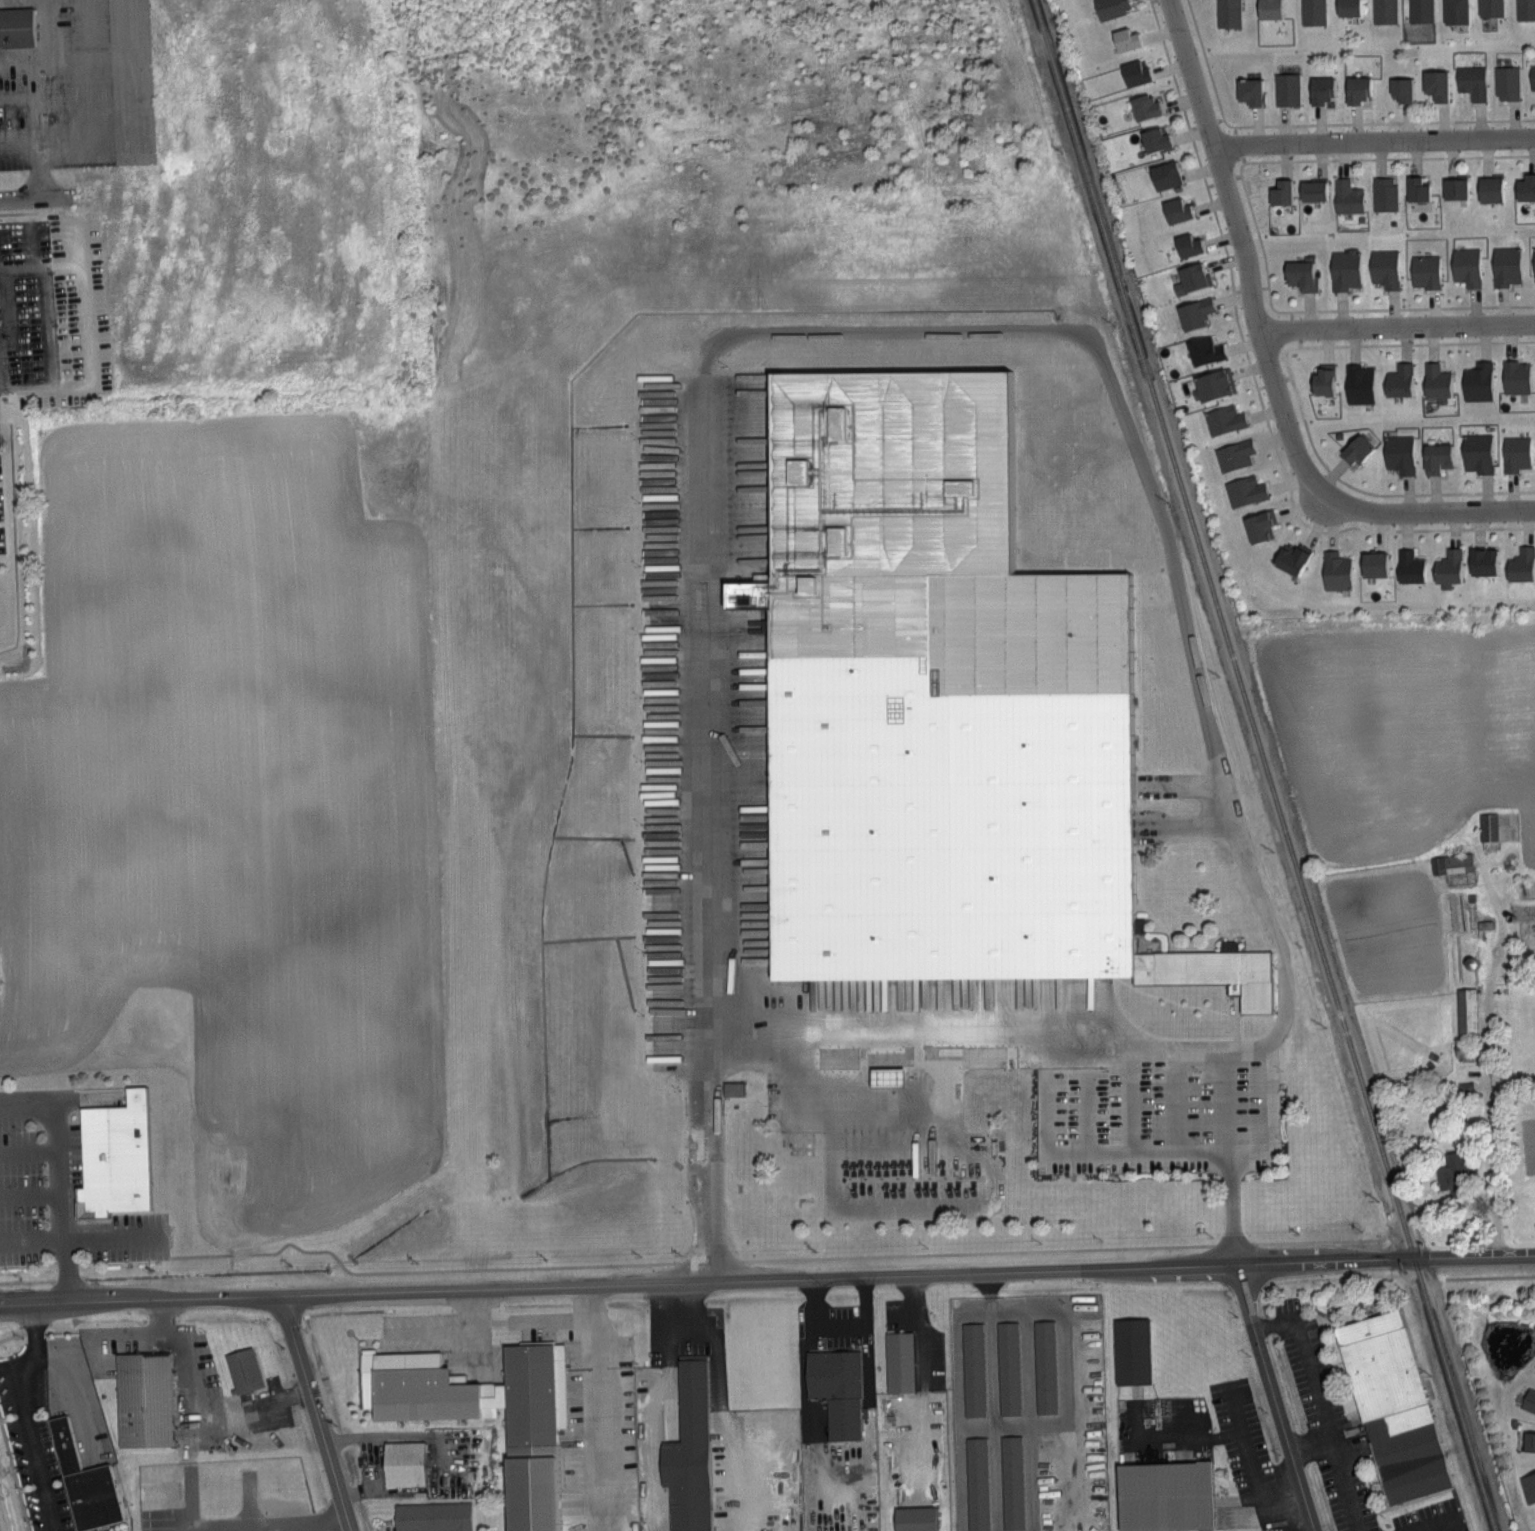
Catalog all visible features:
building: (1110, 7)
building: (1347, 8)
building: (1490, 8)
building: (1268, 9)
building: (1525, 10)
building: (1383, 11)
building: (1420, 11)
building: (1455, 11)
building: (1312, 12)
building: (1227, 13)
building: (16, 26)
building: (1125, 39)
road: (1207, 62)
building: (1134, 72)
building: (1531, 77)
building: (1471, 82)
building: (1506, 83)
building: (1435, 85)
building: (1286, 89)
building: (1356, 89)
building: (1401, 89)
building: (1320, 90)
building: (1248, 91)
building: (1144, 107)
road: (1385, 122)
road: (107, 123)
road: (1230, 125)
building: (1155, 139)
road: (25, 142)
road: (1373, 142)
road: (1513, 154)
road: (1366, 158)
road: (1241, 171)
building: (1164, 174)
building: (1454, 186)
building: (1525, 186)
building: (1415, 187)
building: (1489, 187)
building: (1312, 188)
building: (1280, 190)
building: (1383, 192)
building: (1346, 195)
road: (37, 199)
building: (1176, 209)
road: (1258, 233)
building: (1187, 243)
road: (1241, 246)
building: (1534, 263)
building: (1465, 265)
building: (1505, 265)
building: (1383, 267)
building: (1344, 268)
building: (1424, 270)
building: (1300, 274)
building: (1190, 277)
road: (1413, 307)
road: (1274, 308)
road: (5, 310)
building: (1193, 311)
road: (1398, 326)
road: (920, 329)
road: (1417, 343)
building: (1204, 349)
road: (1286, 357)
road: (1254, 375)
building: (1515, 376)
building: (1322, 379)
building: (1399, 379)
building: (1477, 380)
building: (1435, 381)
building: (1214, 382)
building: (1358, 383)
building: (1223, 418)
building: (1355, 448)
building: (1398, 452)
building: (1477, 452)
building: (1515, 452)
building: (1233, 454)
building: (1436, 456)
building: (1244, 489)
road: (1378, 494)
building: (656, 511)
road: (1424, 511)
building: (1258, 524)
building: (1290, 556)
building: (1483, 560)
building: (1373, 563)
building: (1521, 563)
building: (1409, 565)
building: (1447, 567)
building: (1335, 570)
building: (945, 706)
parking lot: (712, 756)
railway: (1264, 766)
building: (1487, 825)
building: (1450, 863)
building: (1466, 1013)
road: (799, 1047)
road: (1125, 1065)
building: (884, 1075)
building: (732, 1087)
road: (1486, 1091)
road: (86, 1095)
road: (28, 1150)
building: (113, 1155)
road: (57, 1171)
building: (1451, 1174)
road: (28, 1193)
road: (109, 1238)
road: (29, 1240)
road: (1491, 1277)
road: (767, 1280)
road: (990, 1291)
road: (685, 1312)
road: (840, 1328)
road: (447, 1330)
building: (1131, 1351)
building: (898, 1361)
building: (1043, 1366)
building: (1534, 1366)
building: (1007, 1367)
building: (242, 1369)
building: (972, 1369)
road: (925, 1380)
building: (835, 1390)
road: (1273, 1397)
building: (142, 1399)
building: (1530, 1400)
road: (1068, 1402)
road: (248, 1406)
road: (960, 1406)
road: (1322, 1406)
building: (1392, 1406)
road: (808, 1413)
road: (315, 1414)
building: (485, 1414)
road: (29, 1415)
road: (187, 1415)
road: (1191, 1439)
building: (1530, 1442)
road: (1310, 1443)
building: (687, 1450)
building: (402, 1463)
road: (1255, 1470)
building: (82, 1482)
building: (1010, 1482)
building: (975, 1483)
building: (1529, 1487)
building: (1164, 1496)
building: (431, 1516)
building: (914, 1518)
road: (304, 1524)
road: (1451, 1529)

